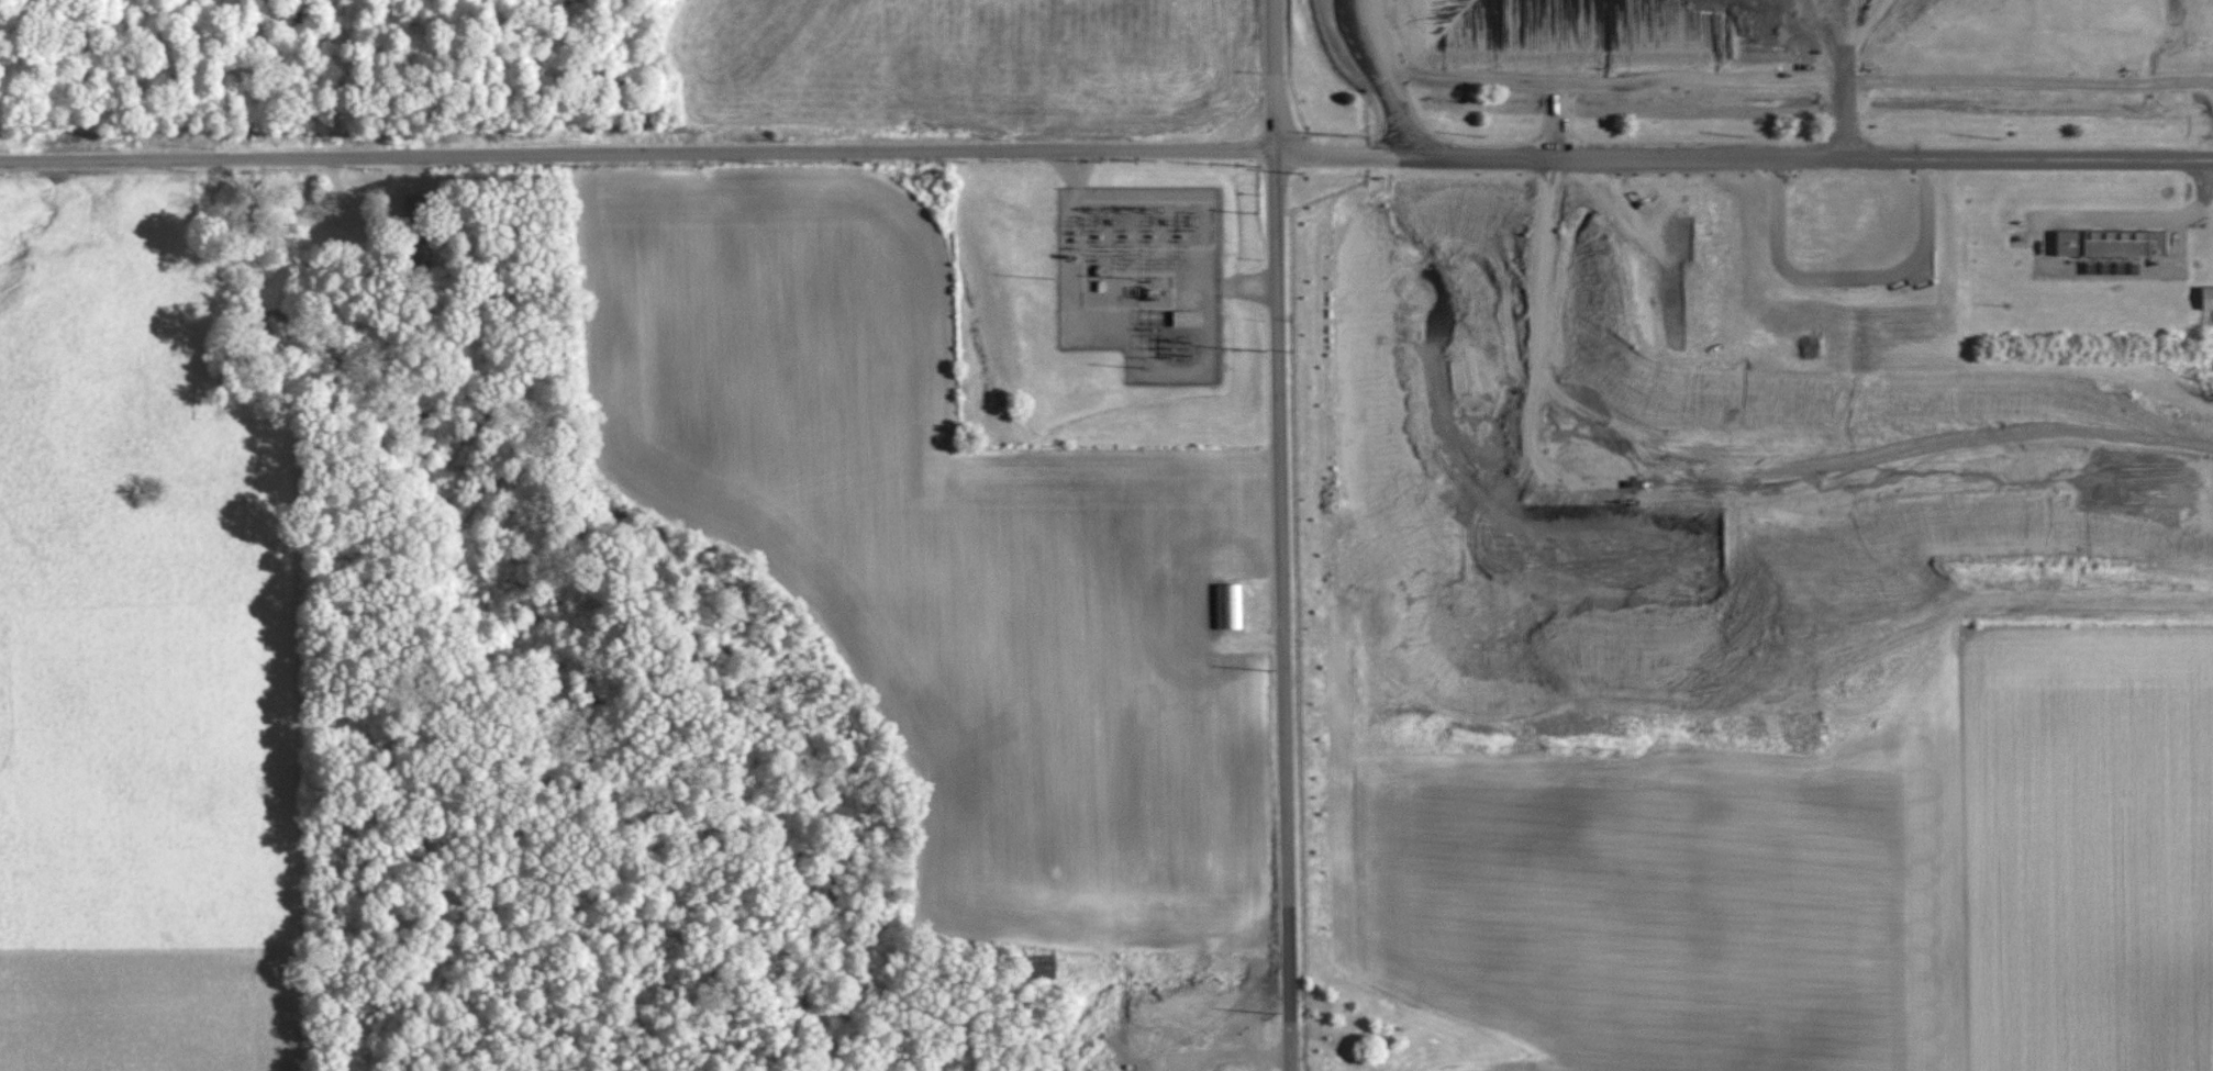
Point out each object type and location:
road: (1375, 36)
road: (1380, 72)
road: (1804, 88)
road: (1846, 118)
road: (1560, 119)
road: (1105, 148)
road: (2204, 176)
building: (416, 204)
road: (2129, 219)
building: (2112, 244)
power substation: (1142, 280)
building: (2208, 298)
building: (1187, 319)
power tower: (1263, 350)
road: (1276, 535)
building: (1230, 605)
power tower: (1268, 670)
power tower: (1276, 1013)

